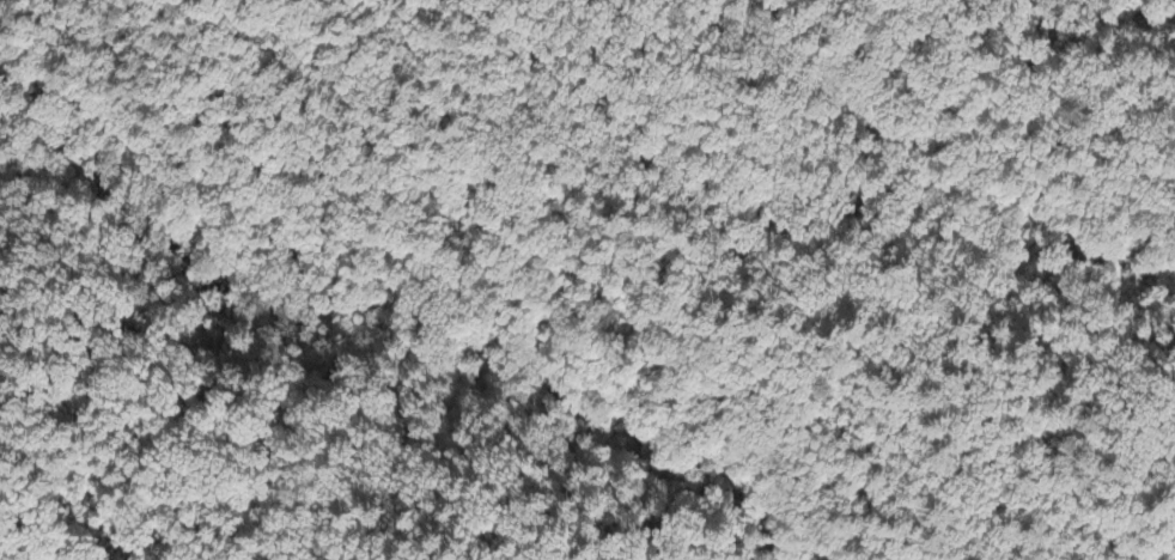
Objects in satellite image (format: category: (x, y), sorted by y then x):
road: (23, 31)

